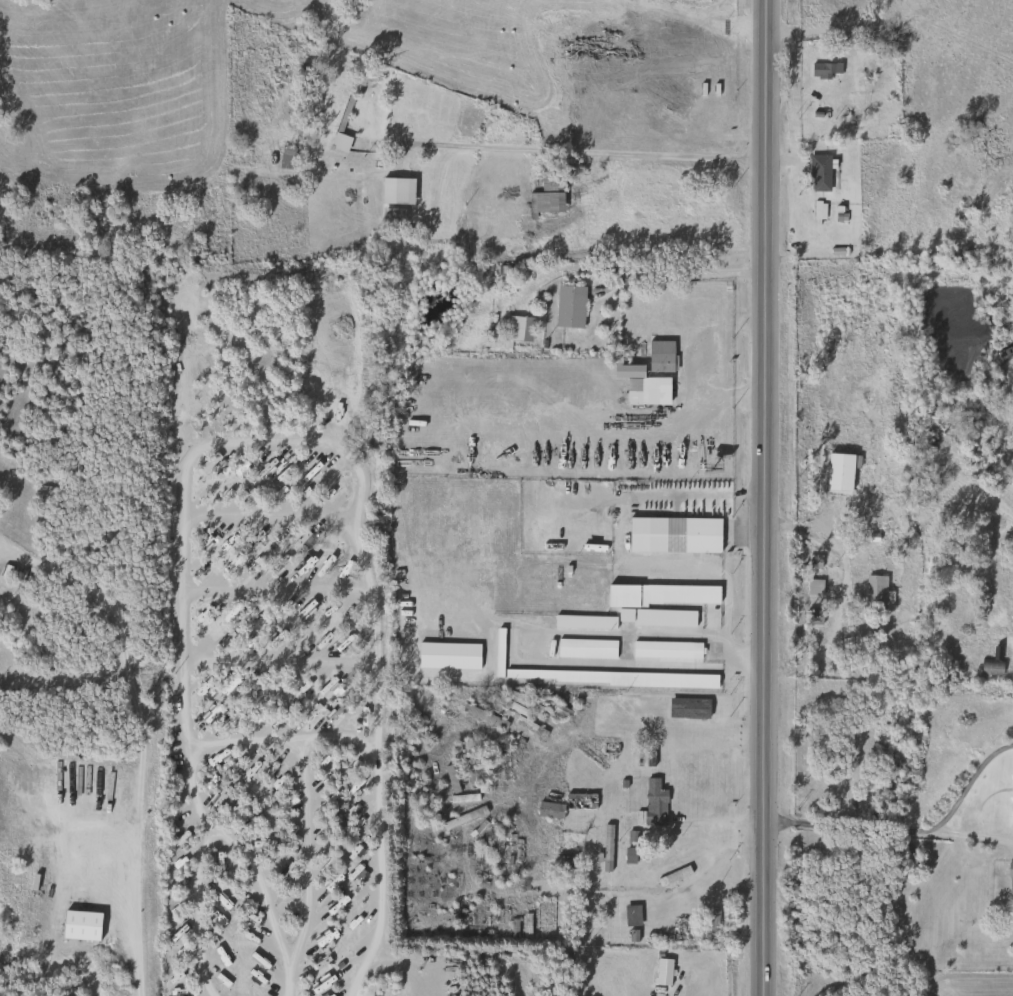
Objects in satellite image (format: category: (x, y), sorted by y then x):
building: (822, 70)
road: (659, 156)
building: (284, 158)
building: (817, 173)
building: (395, 191)
building: (545, 193)
building: (815, 210)
building: (390, 215)
building: (501, 275)
road: (651, 278)
road: (246, 301)
building: (568, 307)
building: (508, 332)
building: (658, 357)
road: (252, 374)
building: (646, 392)
road: (722, 397)
road: (841, 409)
road: (271, 438)
road: (904, 466)
building: (837, 473)
road: (764, 497)
road: (271, 515)
building: (672, 536)
building: (812, 589)
road: (278, 590)
building: (873, 594)
road: (843, 596)
building: (667, 599)
building: (813, 618)
building: (582, 623)
road: (575, 633)
building: (584, 650)
building: (664, 651)
road: (283, 658)
building: (594, 676)
building: (535, 704)
building: (686, 709)
building: (626, 712)
building: (482, 718)
building: (527, 728)
road: (139, 736)
road: (340, 738)
building: (479, 773)
building: (1011, 787)
building: (578, 802)
building: (652, 803)
building: (547, 811)
road: (208, 820)
road: (908, 831)
road: (972, 837)
building: (630, 838)
building: (605, 848)
building: (627, 855)
road: (700, 863)
building: (671, 876)
building: (1009, 879)
road: (199, 912)
building: (629, 915)
building: (542, 920)
building: (688, 926)
building: (710, 928)
building: (677, 931)
building: (655, 938)

